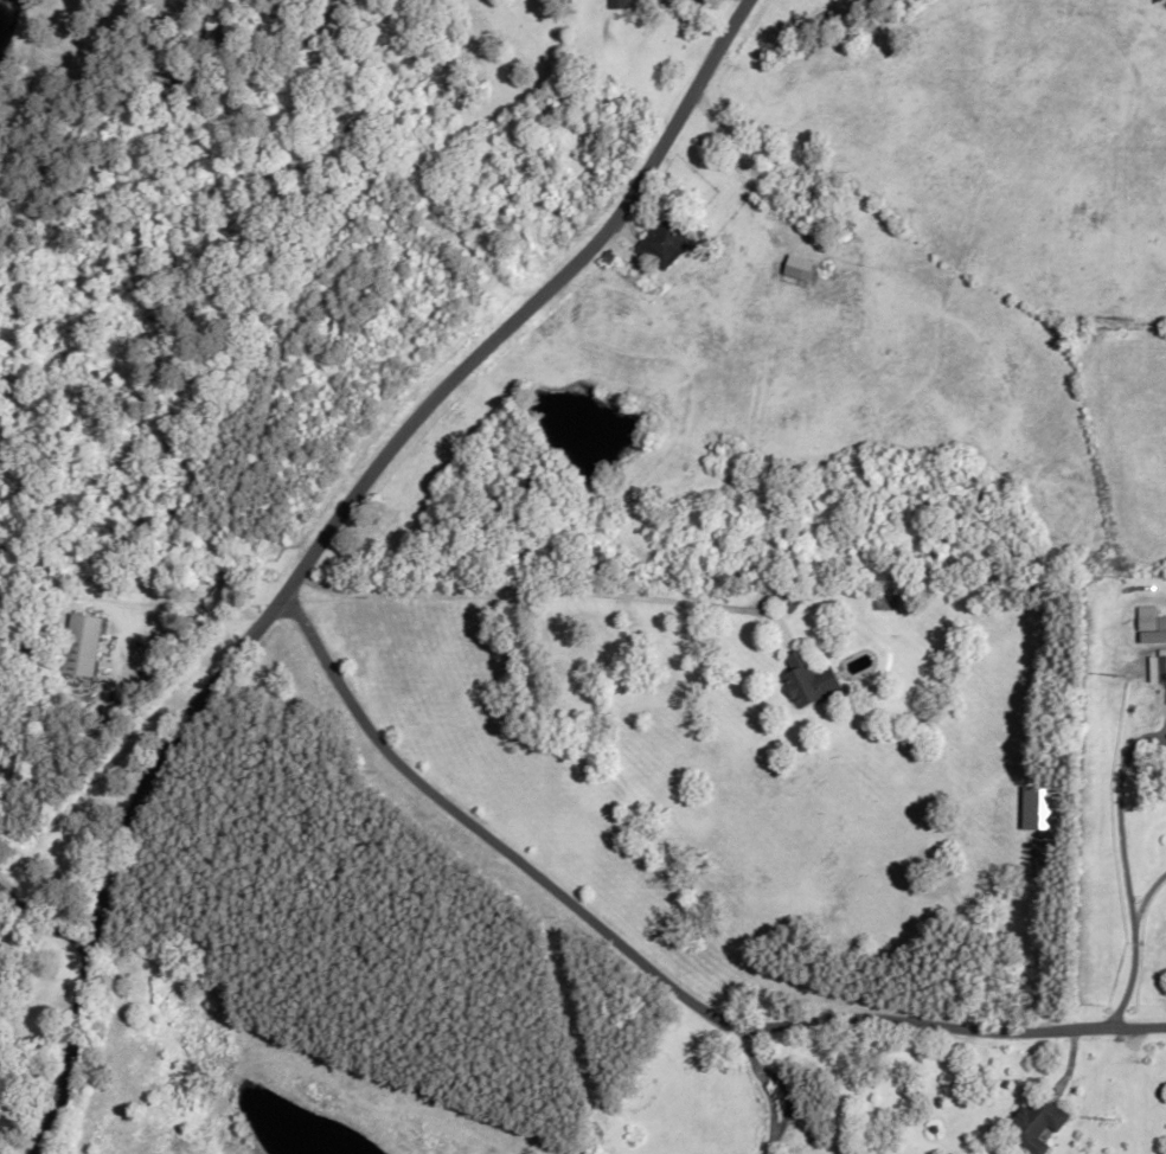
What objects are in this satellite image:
building: (617, 4)
building: (811, 193)
building: (664, 241)
road: (320, 538)
building: (1138, 584)
road: (544, 592)
building: (790, 601)
building: (1152, 636)
building: (77, 645)
building: (1155, 668)
building: (809, 679)
road: (1122, 865)
road: (1145, 896)
road: (653, 967)
road: (765, 1086)
building: (1036, 1123)

